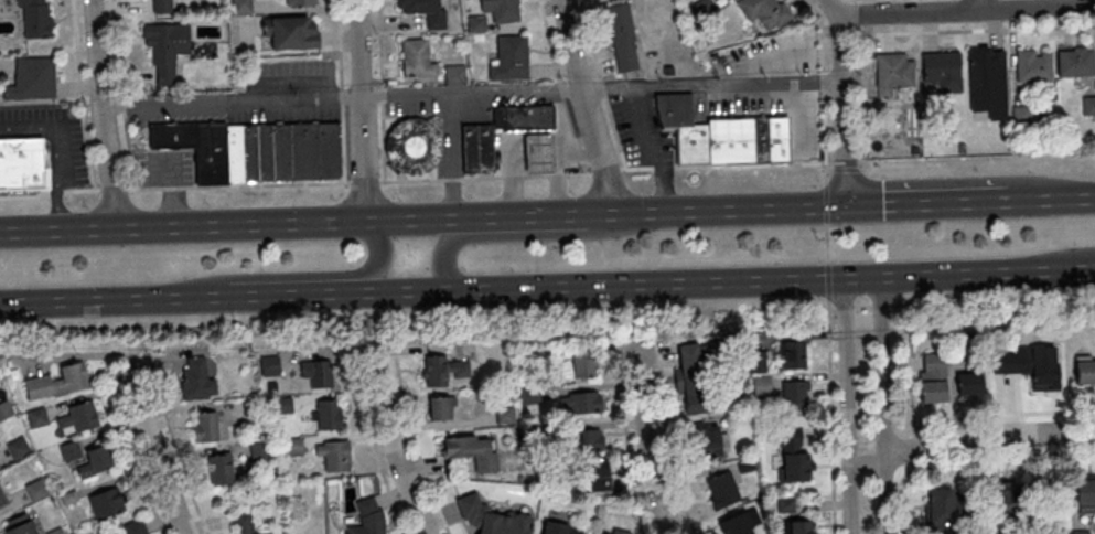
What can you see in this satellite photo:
building: (301, 2)
road: (862, 2)
building: (161, 6)
road: (957, 6)
road: (976, 6)
road: (998, 6)
building: (240, 7)
building: (501, 9)
road: (830, 9)
road: (1035, 9)
building: (423, 10)
building: (764, 11)
road: (909, 13)
road: (863, 17)
building: (33, 18)
building: (476, 23)
building: (288, 32)
road: (975, 32)
road: (820, 35)
road: (849, 35)
building: (623, 36)
road: (548, 41)
road: (590, 41)
road: (117, 47)
building: (165, 47)
building: (749, 47)
building: (787, 54)
building: (415, 56)
building: (509, 57)
building: (1074, 61)
building: (1033, 65)
building: (893, 70)
building: (942, 70)
building: (984, 71)
building: (454, 74)
building: (32, 79)
road: (823, 81)
road: (603, 88)
road: (823, 88)
road: (603, 89)
road: (382, 90)
road: (560, 90)
road: (341, 92)
road: (82, 95)
road: (232, 99)
road: (865, 103)
road: (121, 104)
road: (583, 106)
road: (846, 109)
road: (363, 110)
road: (104, 115)
building: (524, 118)
building: (683, 127)
building: (798, 132)
road: (616, 135)
road: (573, 137)
road: (825, 138)
building: (760, 139)
building: (412, 146)
building: (328, 149)
road: (655, 149)
road: (130, 150)
building: (271, 150)
road: (56, 153)
building: (538, 154)
building: (22, 163)
road: (721, 167)
road: (829, 171)
road: (862, 171)
road: (605, 172)
road: (846, 172)
road: (359, 183)
road: (112, 189)
road: (82, 190)
road: (867, 191)
road: (55, 192)
road: (169, 192)
road: (24, 194)
road: (1051, 196)
road: (926, 201)
road: (826, 205)
traffic signals: (847, 205)
road: (422, 220)
road: (484, 235)
road: (827, 245)
road: (1074, 258)
road: (364, 275)
road: (828, 279)
road: (700, 281)
road: (266, 293)
road: (112, 298)
road: (831, 306)
road: (844, 306)
road: (900, 306)
road: (862, 307)
road: (881, 307)
building: (793, 354)
road: (117, 359)
building: (1042, 360)
building: (758, 361)
building: (582, 362)
building: (269, 365)
building: (442, 369)
road: (911, 370)
building: (1084, 370)
building: (320, 372)
building: (697, 377)
building: (932, 377)
building: (196, 380)
building: (57, 382)
building: (968, 382)
building: (762, 385)
building: (793, 394)
building: (584, 402)
road: (848, 405)
road: (881, 405)
building: (441, 407)
building: (4, 409)
building: (329, 414)
road: (831, 414)
building: (504, 415)
road: (1003, 416)
building: (36, 417)
building: (77, 417)
building: (205, 426)
building: (587, 439)
road: (971, 439)
building: (709, 440)
road: (645, 441)
road: (667, 441)
road: (627, 442)
road: (375, 445)
road: (391, 446)
road: (418, 446)
building: (18, 447)
road: (135, 447)
road: (176, 449)
road: (913, 449)
building: (68, 450)
building: (259, 450)
building: (472, 450)
road: (152, 451)
building: (794, 453)
building: (334, 455)
road: (1003, 456)
building: (95, 460)
road: (913, 467)
building: (219, 469)
building: (595, 474)
building: (721, 489)
building: (1085, 492)
building: (1, 499)
road: (901, 499)
building: (107, 502)
building: (943, 510)
building: (367, 516)
building: (491, 517)
building: (740, 522)
building: (19, 524)
building: (248, 524)
building: (314, 525)
building: (135, 526)
building: (798, 526)
building: (561, 527)
building: (1080, 531)
building: (89, 533)

